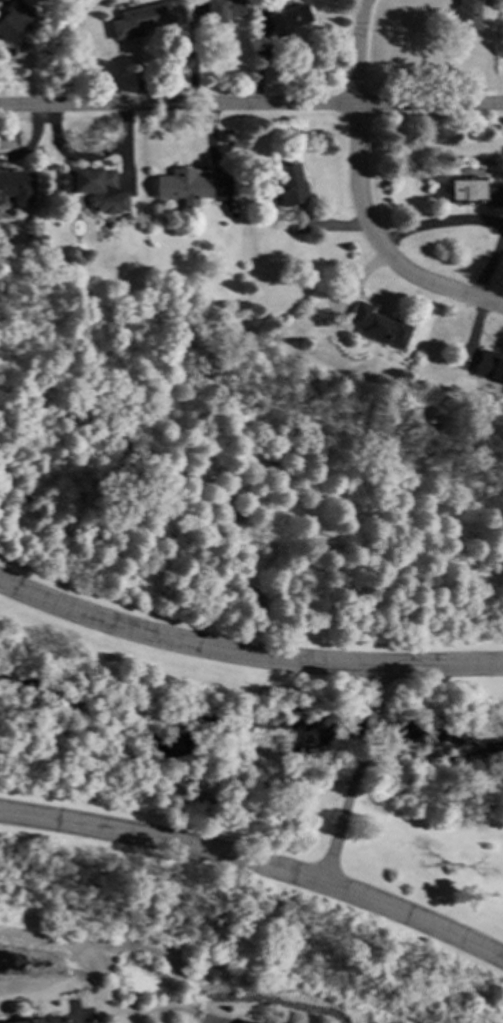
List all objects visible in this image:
building: (222, 10)
building: (467, 14)
building: (144, 17)
building: (12, 18)
building: (287, 19)
road: (251, 105)
road: (31, 141)
building: (289, 185)
building: (182, 186)
building: (15, 187)
building: (95, 188)
building: (472, 191)
road: (359, 195)
road: (472, 222)
building: (376, 326)
building: (489, 366)
park: (249, 647)
road: (246, 653)
road: (374, 685)
road: (362, 737)
river: (248, 744)
road: (216, 853)
road: (414, 918)
road: (75, 1015)
building: (33, 1019)
building: (245, 1021)

